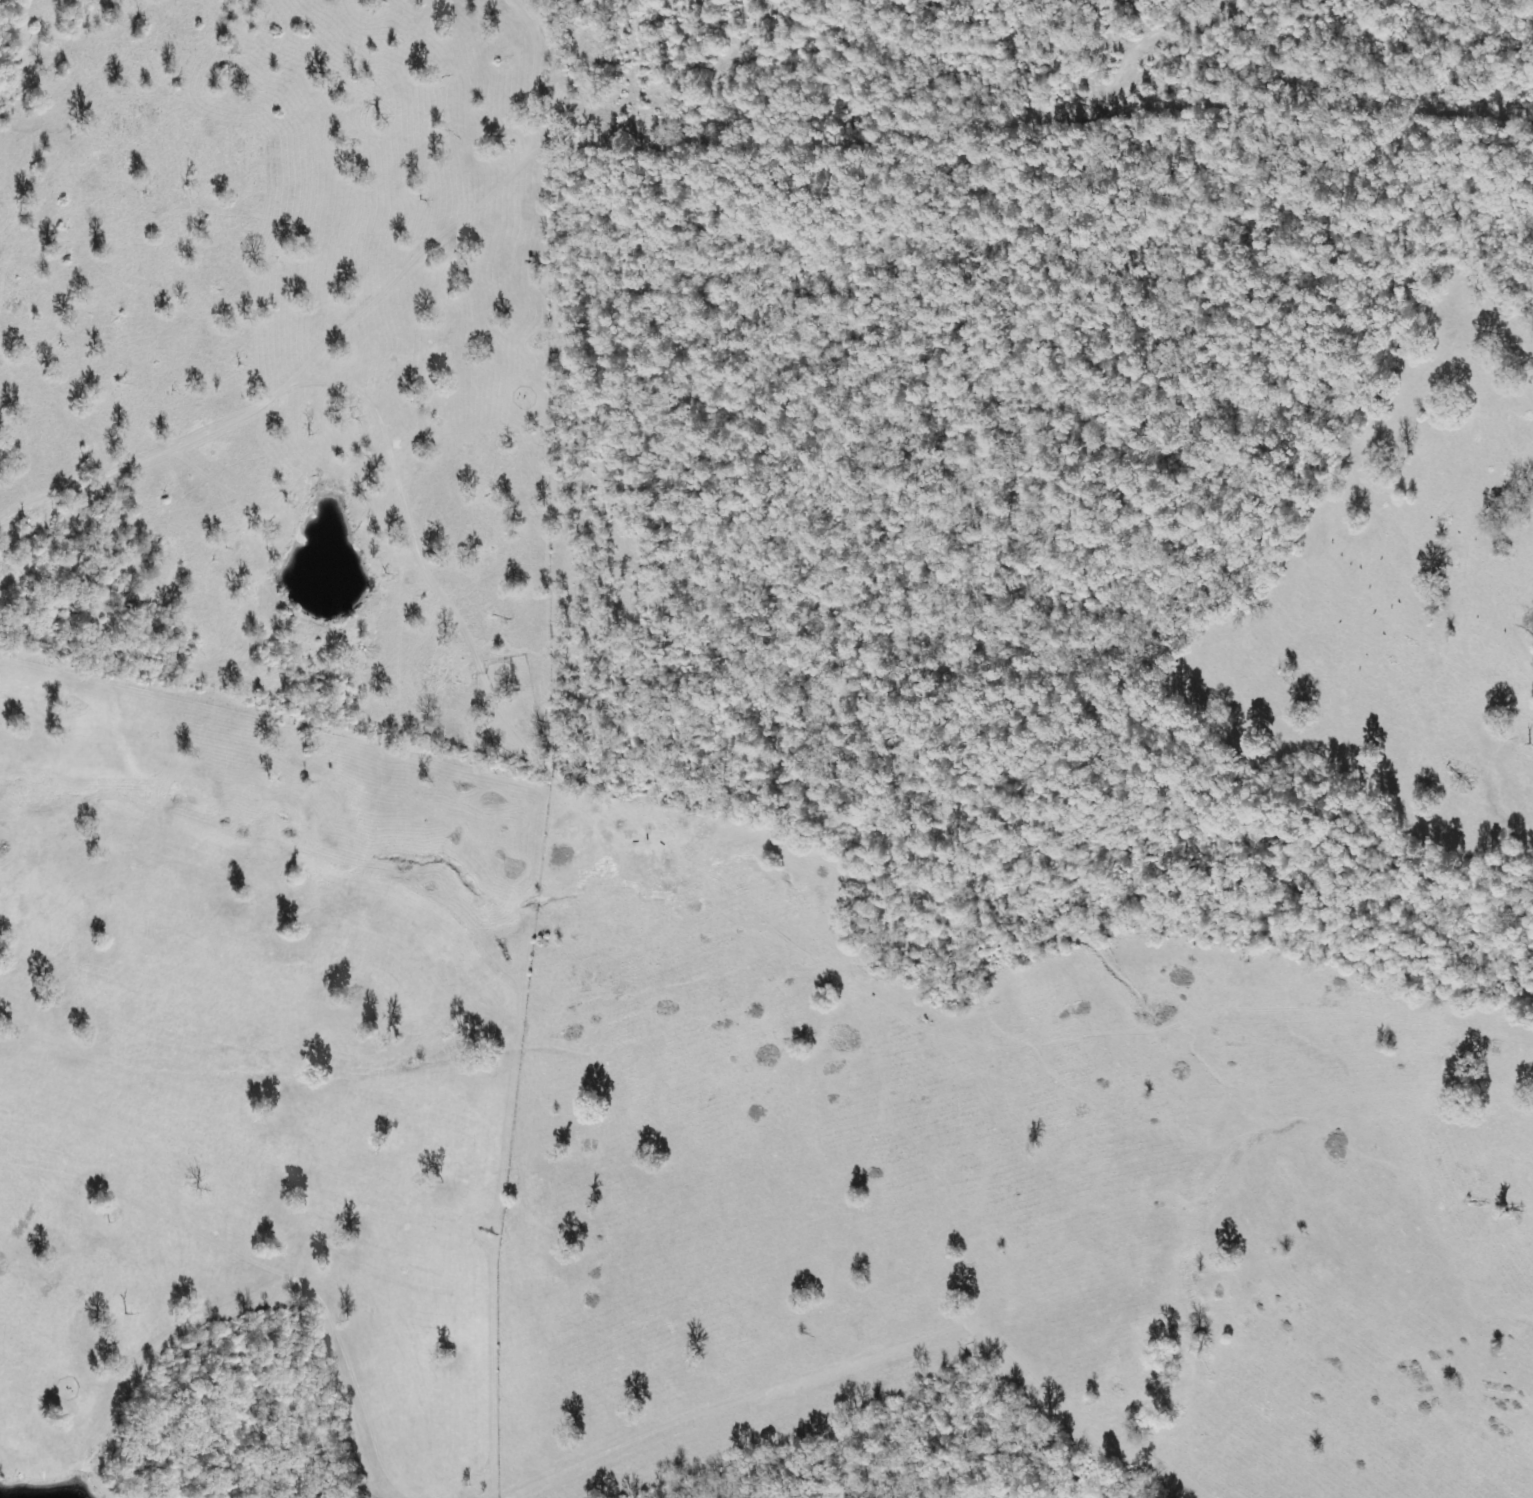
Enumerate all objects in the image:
road: (705, 1403)

